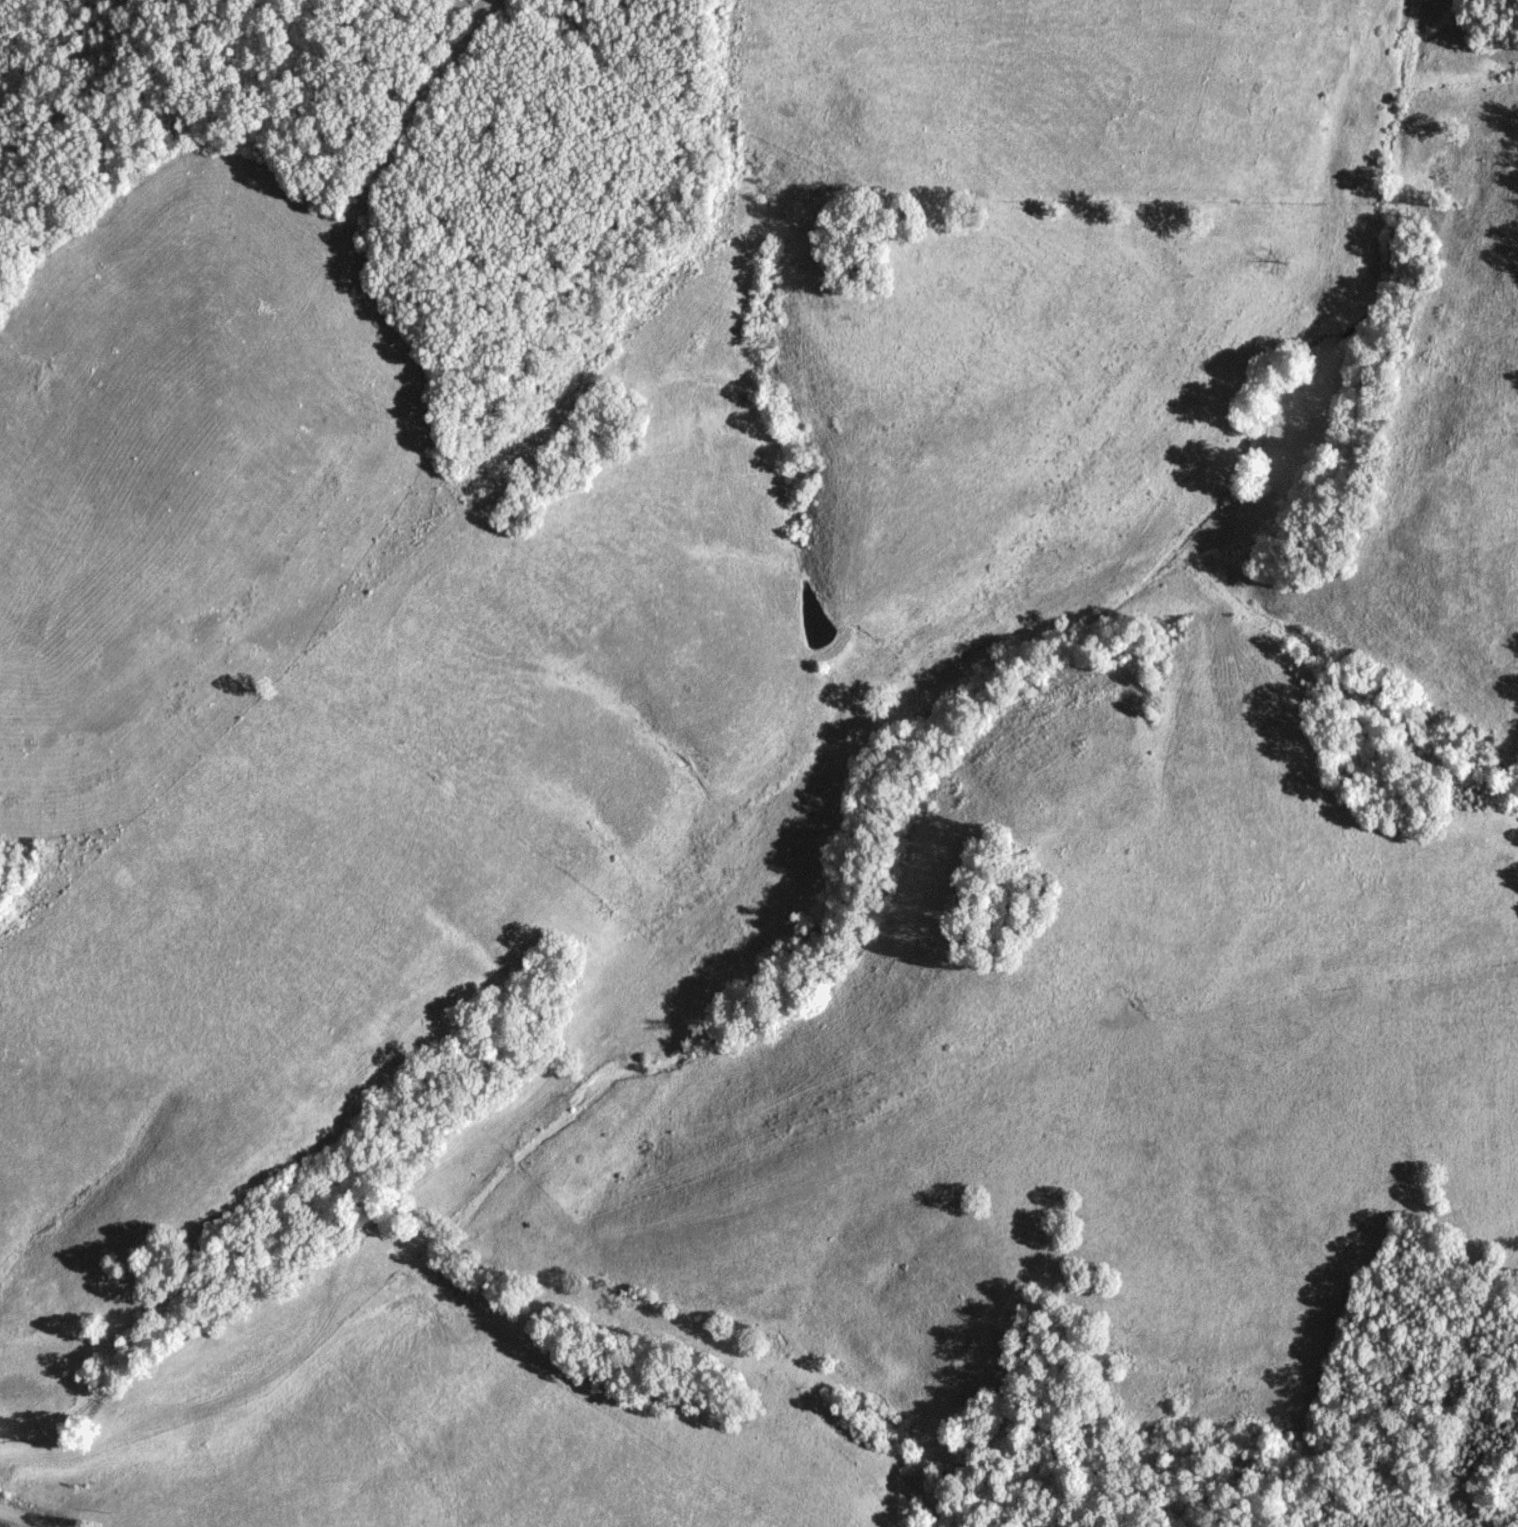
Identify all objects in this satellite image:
road: (21, 1519)

